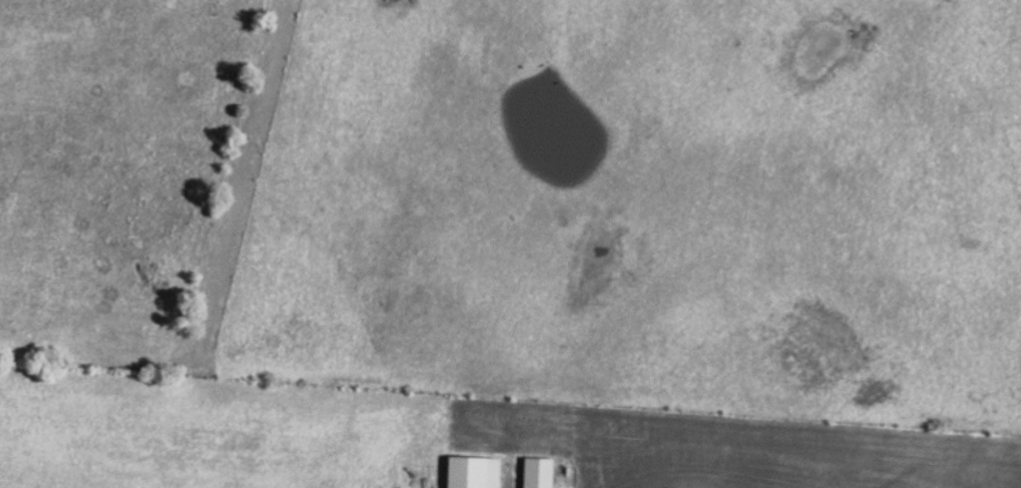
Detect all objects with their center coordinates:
building: (480, 471)
building: (544, 472)

